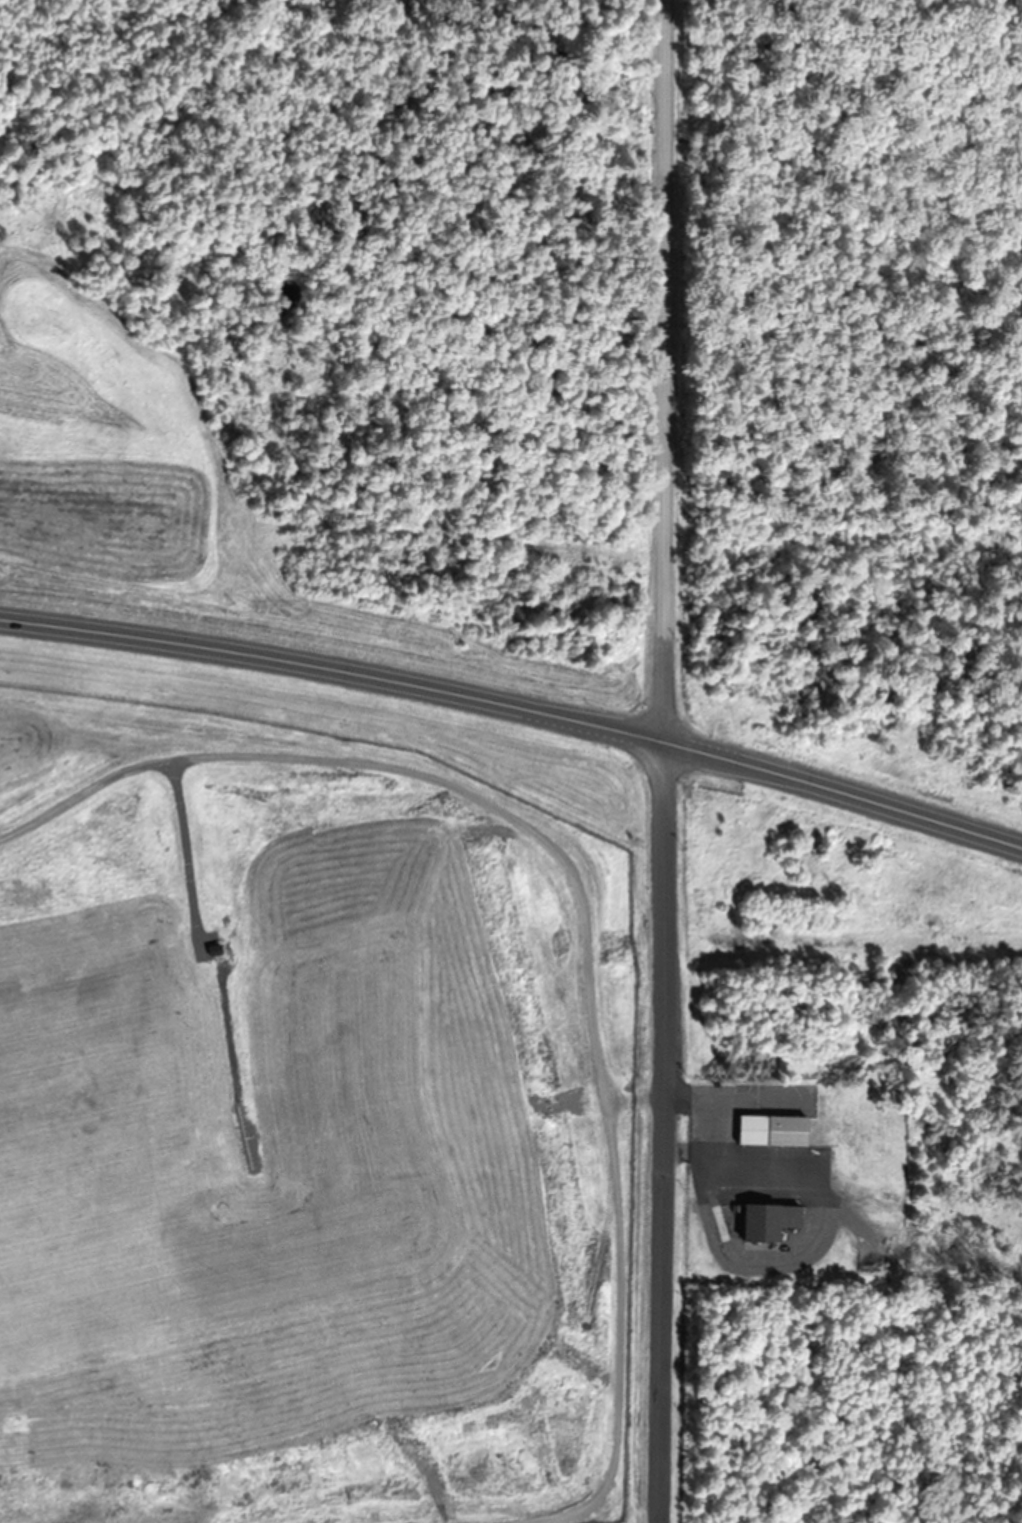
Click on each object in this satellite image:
road: (664, 369)
road: (517, 707)
airport: (511, 761)
building: (211, 950)
road: (667, 1130)
building: (775, 1132)
building: (772, 1220)

